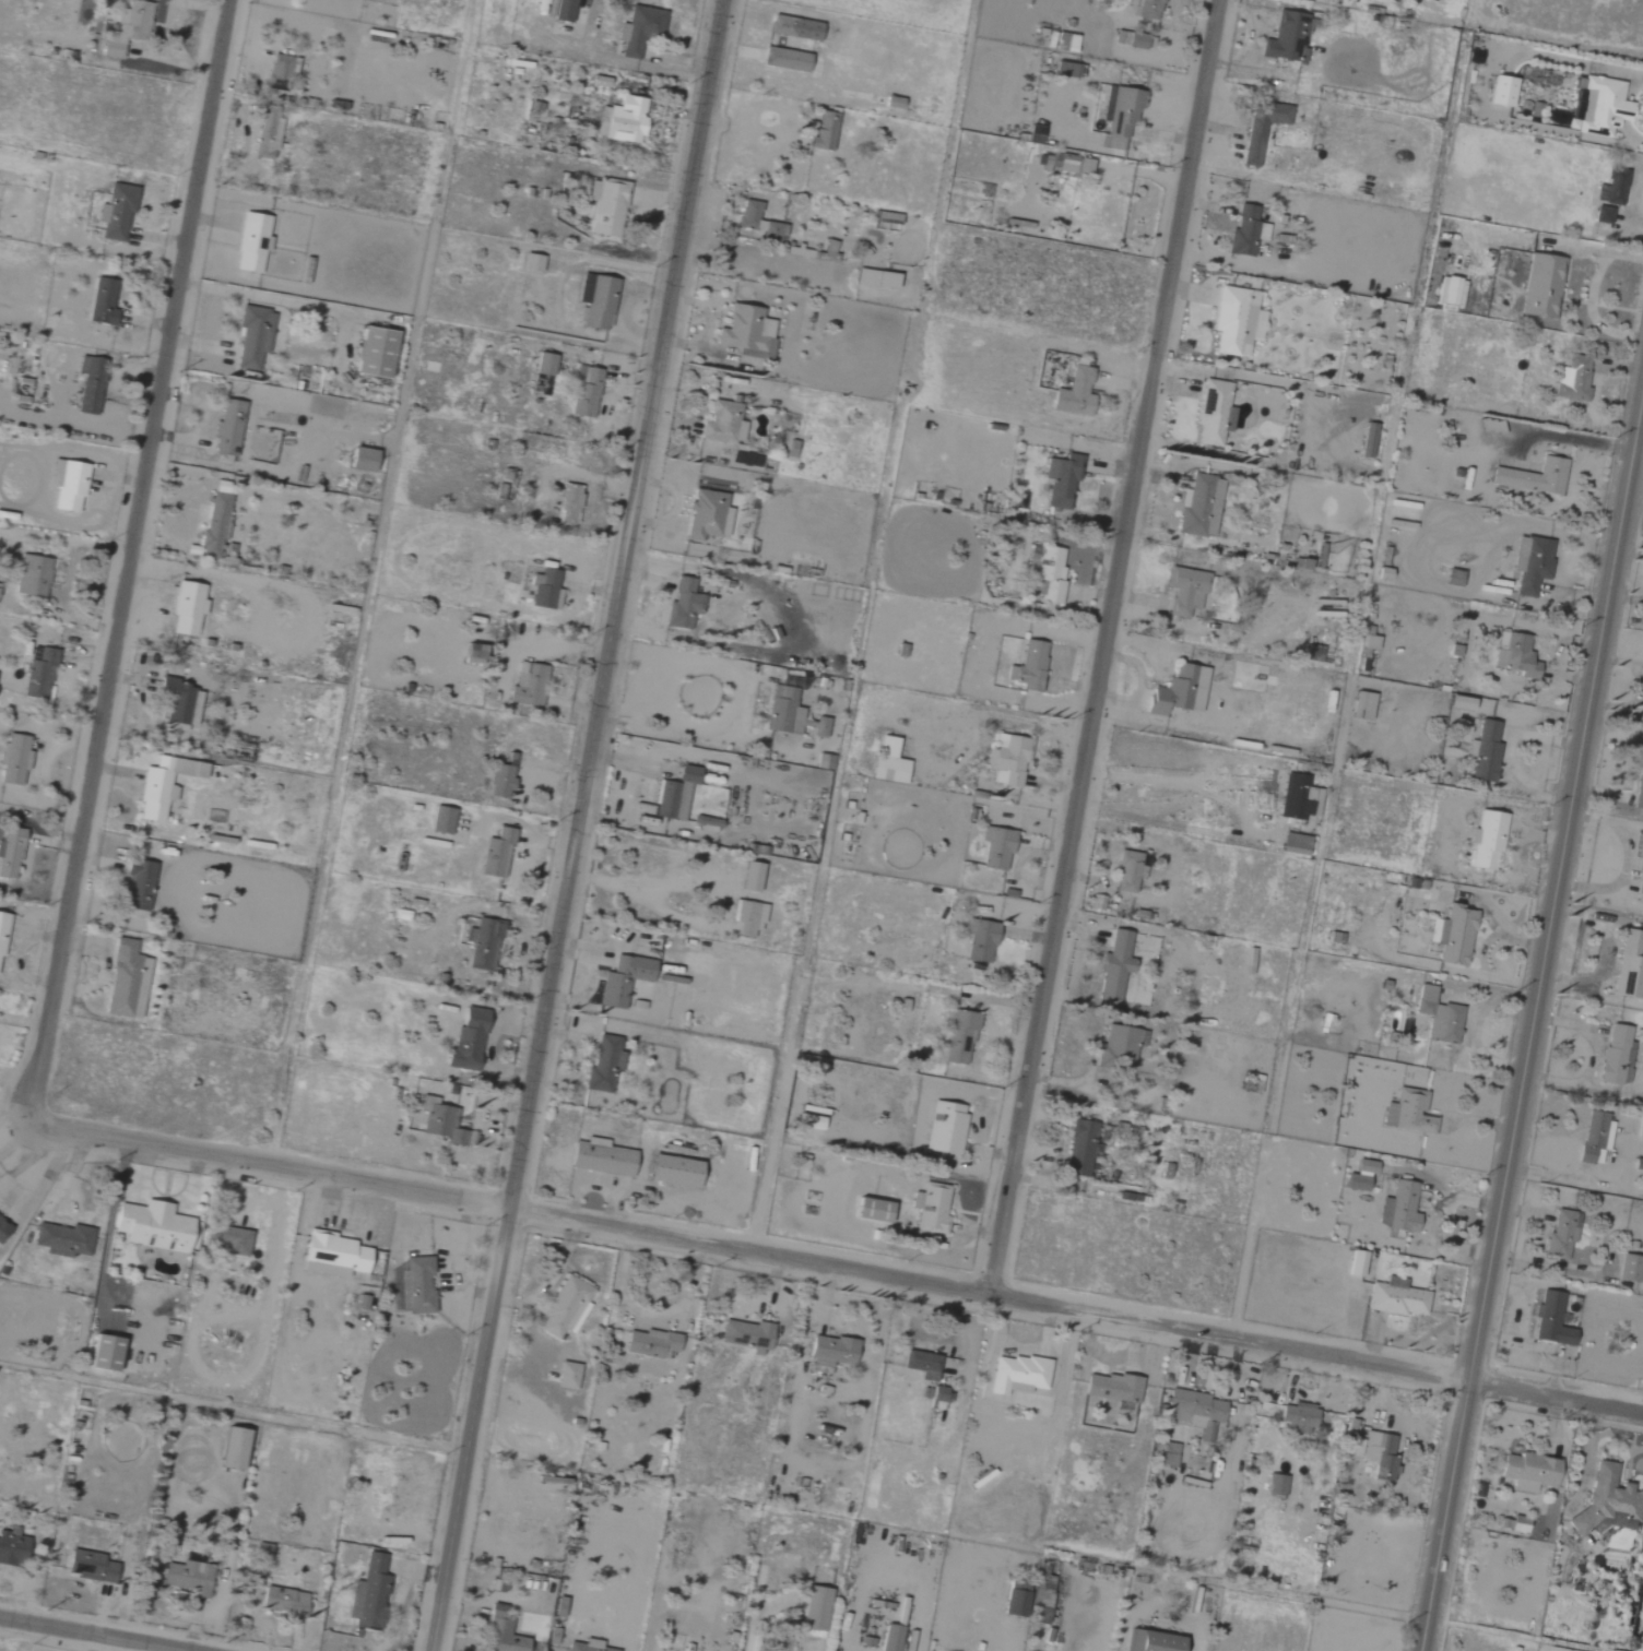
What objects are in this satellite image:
building: (1148, 9)
building: (563, 11)
road: (168, 24)
building: (126, 28)
building: (793, 28)
building: (640, 29)
building: (620, 33)
building: (1286, 37)
building: (1135, 41)
building: (784, 60)
building: (1064, 69)
building: (277, 72)
building: (1500, 91)
building: (1595, 108)
building: (1119, 114)
building: (624, 120)
building: (1260, 128)
building: (824, 130)
building: (265, 138)
building: (1072, 164)
building: (1611, 188)
building: (606, 209)
building: (117, 211)
building: (1601, 215)
building: (758, 223)
building: (1244, 231)
building: (250, 241)
building: (531, 262)
building: (874, 278)
building: (1540, 285)
building: (1449, 292)
building: (101, 301)
building: (598, 302)
building: (1236, 321)
building: (745, 332)
building: (251, 336)
building: (371, 352)
building: (543, 364)
building: (1577, 379)
building: (88, 384)
building: (584, 391)
building: (1074, 393)
building: (1213, 413)
building: (722, 423)
building: (1489, 426)
building: (226, 428)
building: (360, 460)
building: (1530, 475)
building: (1060, 479)
building: (69, 486)
building: (568, 503)
building: (1198, 506)
building: (200, 513)
building: (706, 514)
building: (215, 518)
road: (129, 559)
building: (1530, 563)
building: (1048, 573)
road: (68, 574)
building: (31, 575)
building: (1452, 577)
building: (544, 590)
building: (1184, 591)
building: (682, 603)
building: (186, 608)
road: (790, 629)
building: (1369, 642)
road: (1107, 643)
building: (471, 653)
building: (1312, 653)
building: (1515, 655)
building: (1029, 666)
building: (37, 675)
building: (527, 685)
building: (1178, 691)
building: (178, 702)
building: (1360, 705)
building: (789, 715)
building: (1482, 751)
building: (1642, 751)
building: (13, 759)
building: (1007, 759)
building: (823, 761)
building: (887, 762)
building: (500, 775)
road: (1167, 779)
building: (162, 785)
building: (1639, 789)
building: (674, 794)
building: (1298, 797)
building: (441, 820)
road: (576, 825)
building: (1293, 841)
building: (1486, 841)
building: (996, 850)
building: (9, 851)
building: (495, 854)
building: (1127, 871)
building: (1640, 874)
building: (749, 877)
building: (138, 878)
road: (629, 898)
building: (747, 918)
building: (1, 927)
building: (1454, 936)
building: (978, 940)
building: (482, 943)
road: (19, 954)
building: (1629, 965)
building: (1113, 966)
building: (622, 979)
building: (125, 981)
building: (1438, 1017)
road: (1530, 1017)
building: (958, 1037)
building: (466, 1041)
building: (1616, 1055)
building: (603, 1066)
building: (1410, 1112)
building: (439, 1121)
building: (944, 1128)
building: (1594, 1137)
building: (1078, 1149)
building: (600, 1157)
road: (66, 1176)
building: (1359, 1176)
road: (16, 1196)
road: (162, 1199)
building: (931, 1209)
building: (1398, 1209)
building: (871, 1211)
building: (151, 1226)
building: (2, 1227)
building: (1560, 1234)
building: (226, 1239)
building: (61, 1240)
building: (332, 1255)
road: (835, 1261)
building: (1355, 1263)
building: (1629, 1268)
building: (415, 1286)
building: (1396, 1298)
building: (564, 1308)
building: (1550, 1321)
building: (746, 1335)
building: (649, 1343)
building: (830, 1351)
building: (102, 1353)
building: (921, 1365)
building: (1016, 1375)
building: (566, 1376)
building: (1111, 1388)
building: (937, 1394)
building: (1297, 1418)
building: (231, 1449)
building: (1168, 1453)
building: (1379, 1454)
building: (1527, 1472)
building: (1275, 1485)
building: (1610, 1504)
building: (1517, 1524)
building: (10, 1548)
building: (88, 1566)
building: (184, 1575)
building: (367, 1594)
building: (1040, 1599)
building: (1014, 1600)
building: (282, 1601)
building: (557, 1607)
building: (814, 1610)
road: (98, 1632)
building: (500, 1634)
building: (890, 1638)
building: (1150, 1641)
building: (584, 1646)

